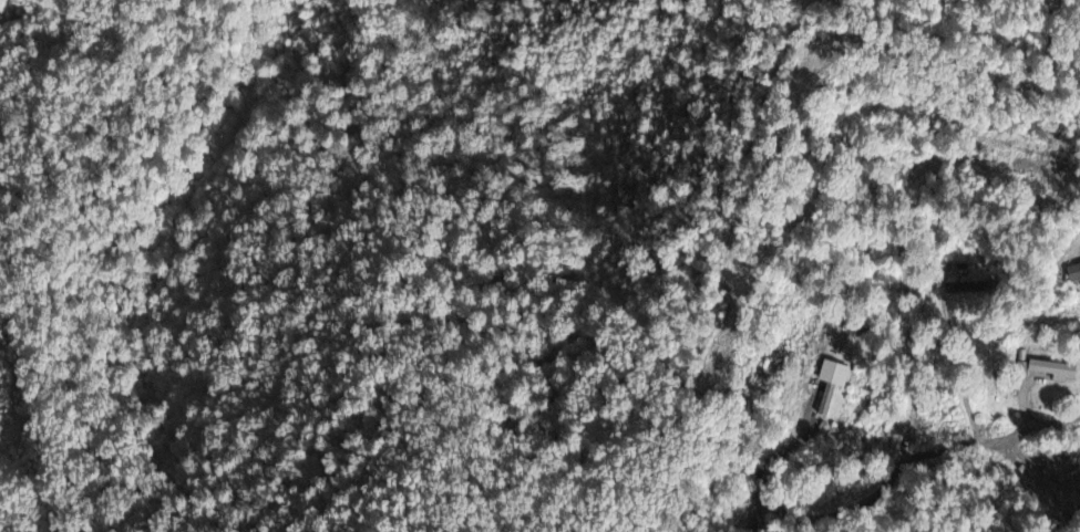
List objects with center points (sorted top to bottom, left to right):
road: (321, 32)
building: (1072, 275)
building: (955, 291)
building: (1050, 373)
building: (827, 387)
road: (758, 481)

